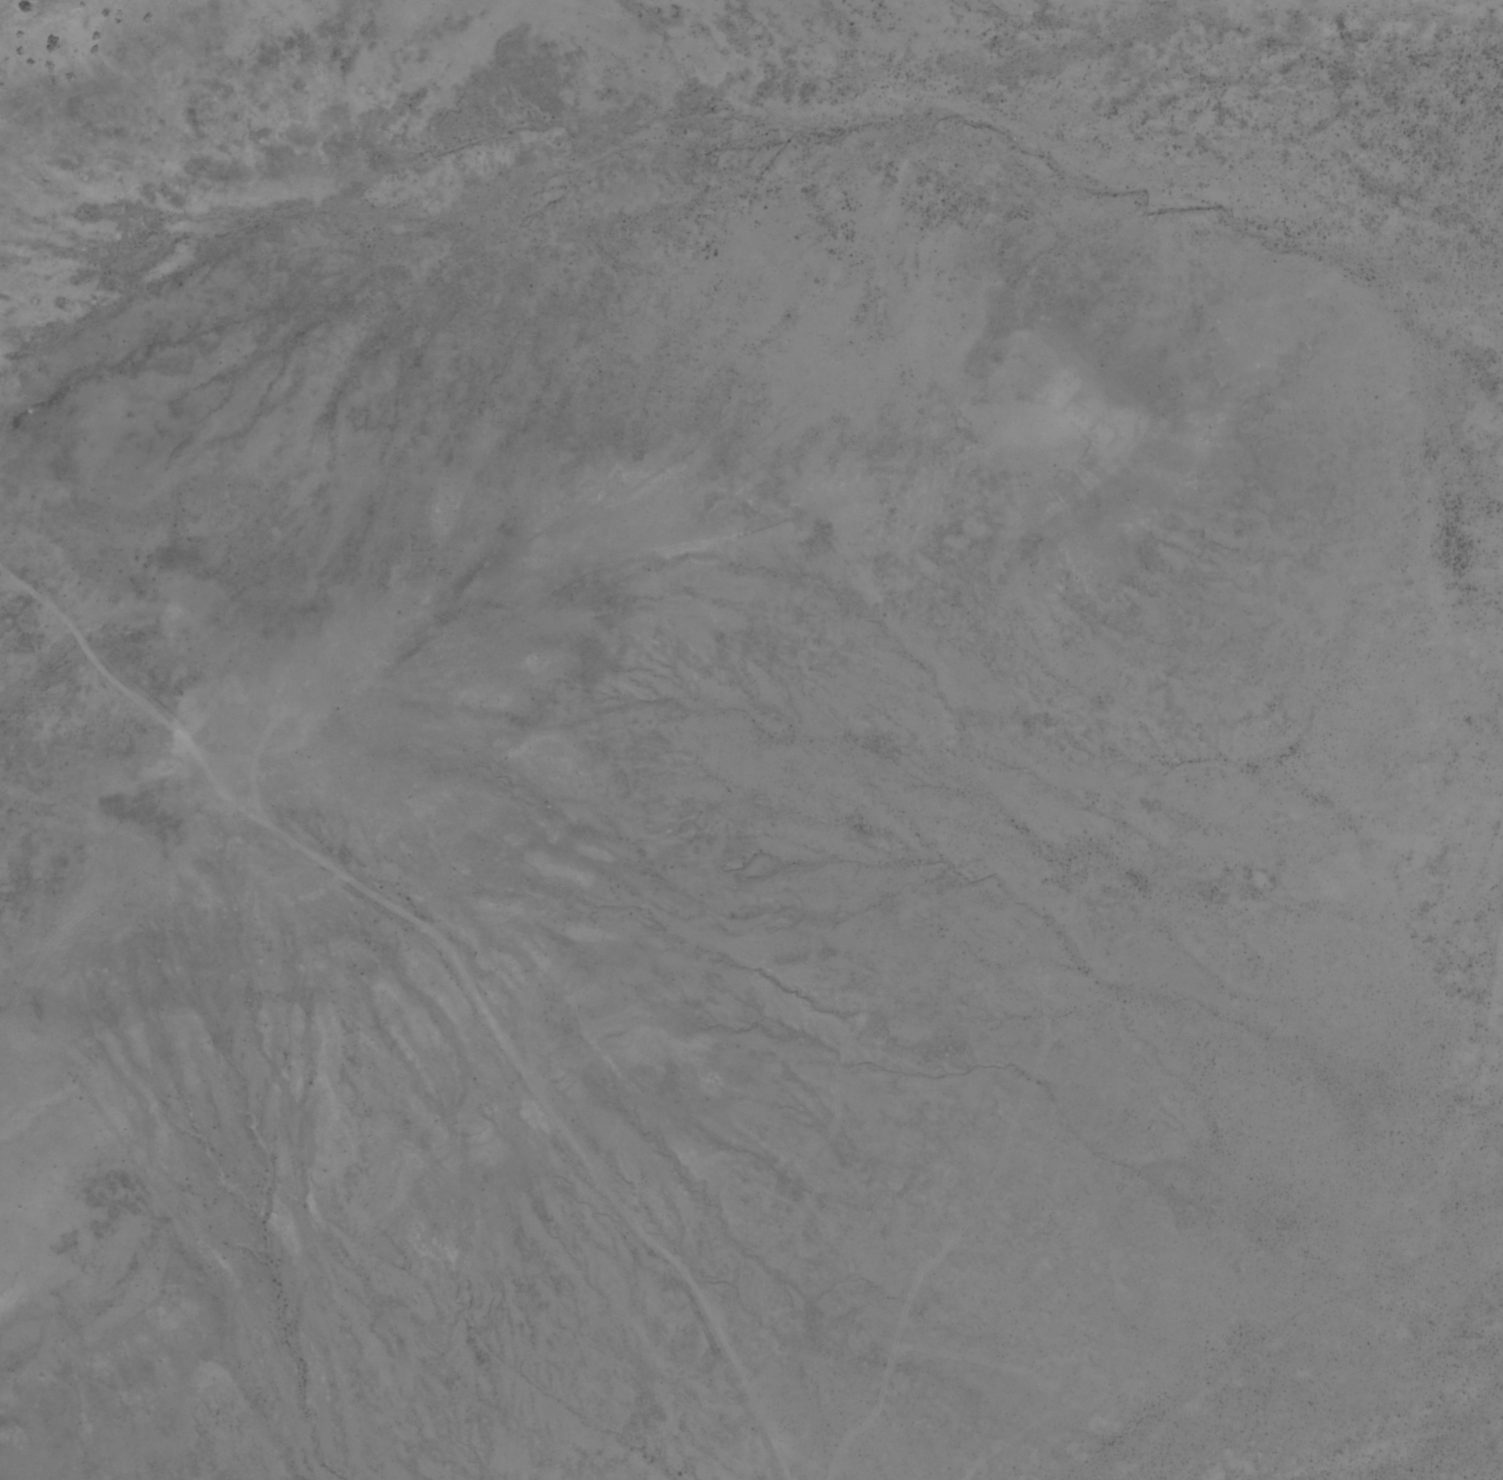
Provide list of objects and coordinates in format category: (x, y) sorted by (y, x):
road: (1348, 33)

